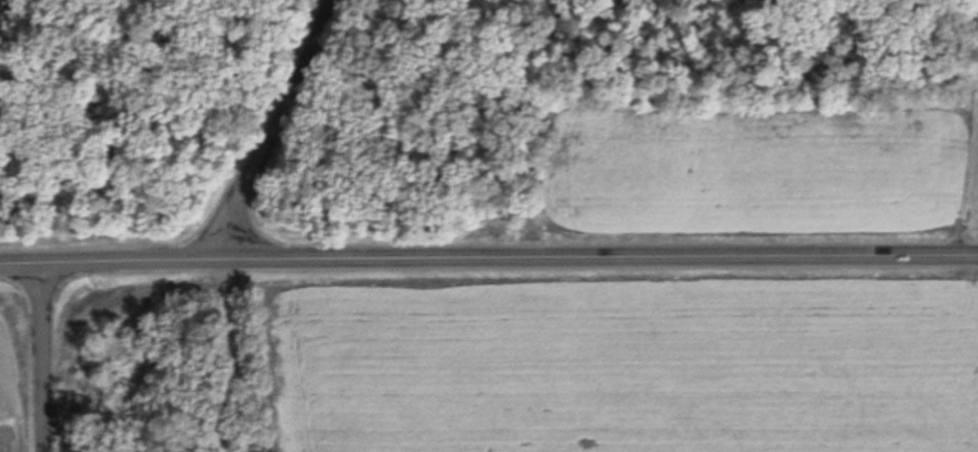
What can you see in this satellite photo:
road: (271, 131)
road: (488, 258)
road: (45, 360)

